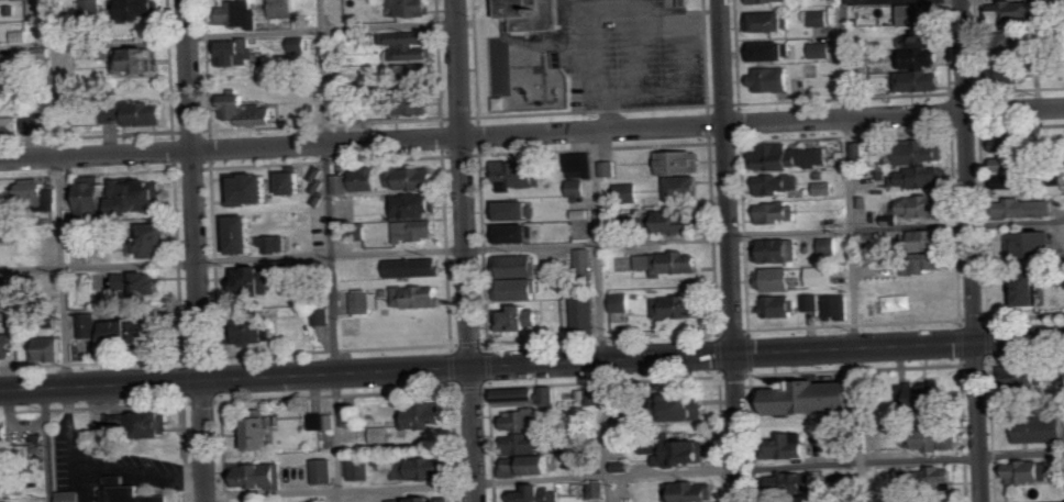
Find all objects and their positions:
building: (769, 0)
road: (873, 1)
building: (677, 3)
building: (413, 7)
building: (95, 8)
building: (137, 8)
building: (284, 8)
building: (1017, 10)
building: (920, 13)
building: (239, 14)
building: (530, 14)
road: (591, 16)
building: (821, 18)
building: (771, 21)
road: (228, 33)
building: (20, 36)
building: (408, 36)
building: (922, 38)
building: (1016, 43)
building: (299, 44)
building: (823, 49)
building: (773, 51)
building: (237, 52)
building: (413, 52)
road: (642, 53)
building: (921, 57)
building: (140, 60)
building: (419, 70)
building: (774, 79)
building: (921, 80)
road: (685, 93)
building: (77, 98)
building: (409, 102)
building: (247, 110)
building: (135, 112)
road: (612, 112)
building: (40, 122)
building: (10, 123)
road: (531, 133)
building: (1008, 142)
building: (858, 149)
building: (924, 149)
building: (789, 156)
building: (681, 161)
building: (1010, 163)
building: (583, 165)
building: (610, 168)
building: (519, 174)
building: (413, 177)
building: (921, 177)
building: (368, 178)
building: (296, 181)
building: (1012, 181)
building: (777, 182)
building: (341, 183)
building: (318, 185)
building: (36, 187)
building: (578, 187)
building: (684, 187)
building: (253, 188)
building: (823, 188)
road: (58, 193)
building: (630, 193)
building: (138, 196)
building: (95, 198)
building: (8, 203)
building: (418, 204)
building: (921, 205)
building: (1029, 207)
building: (514, 209)
building: (778, 211)
building: (679, 221)
building: (418, 228)
building: (514, 232)
building: (246, 233)
building: (7, 234)
building: (154, 239)
building: (930, 239)
building: (276, 243)
building: (1031, 243)
road: (531, 244)
building: (829, 244)
building: (778, 249)
road: (197, 250)
road: (329, 250)
road: (466, 250)
road: (731, 250)
road: (851, 250)
road: (973, 250)
building: (584, 259)
building: (928, 261)
building: (669, 263)
building: (518, 265)
building: (415, 267)
building: (820, 276)
building: (776, 278)
building: (254, 279)
building: (142, 281)
building: (5, 286)
building: (519, 288)
building: (1028, 288)
building: (419, 294)
building: (367, 301)
building: (811, 301)
building: (622, 302)
building: (779, 305)
building: (839, 305)
building: (680, 306)
building: (5, 309)
building: (586, 311)
building: (323, 314)
road: (601, 316)
building: (521, 317)
building: (89, 324)
building: (256, 328)
building: (138, 330)
building: (5, 344)
building: (48, 348)
road: (532, 365)
building: (1031, 376)
building: (519, 393)
building: (551, 394)
building: (929, 395)
building: (596, 397)
building: (818, 397)
building: (690, 406)
building: (353, 415)
building: (422, 415)
building: (323, 421)
building: (527, 421)
building: (142, 422)
building: (1040, 430)
building: (261, 433)
building: (381, 434)
building: (7, 436)
building: (934, 438)
building: (525, 443)
road: (46, 445)
building: (793, 446)
building: (683, 453)
building: (8, 461)
building: (531, 465)
building: (421, 468)
building: (361, 469)
building: (326, 471)
building: (1030, 471)
building: (1061, 471)
road: (635, 473)
building: (263, 476)
building: (926, 477)
building: (797, 481)
building: (5, 487)
building: (598, 489)
building: (128, 490)
building: (690, 491)
building: (540, 494)
building: (69, 495)
building: (421, 500)

